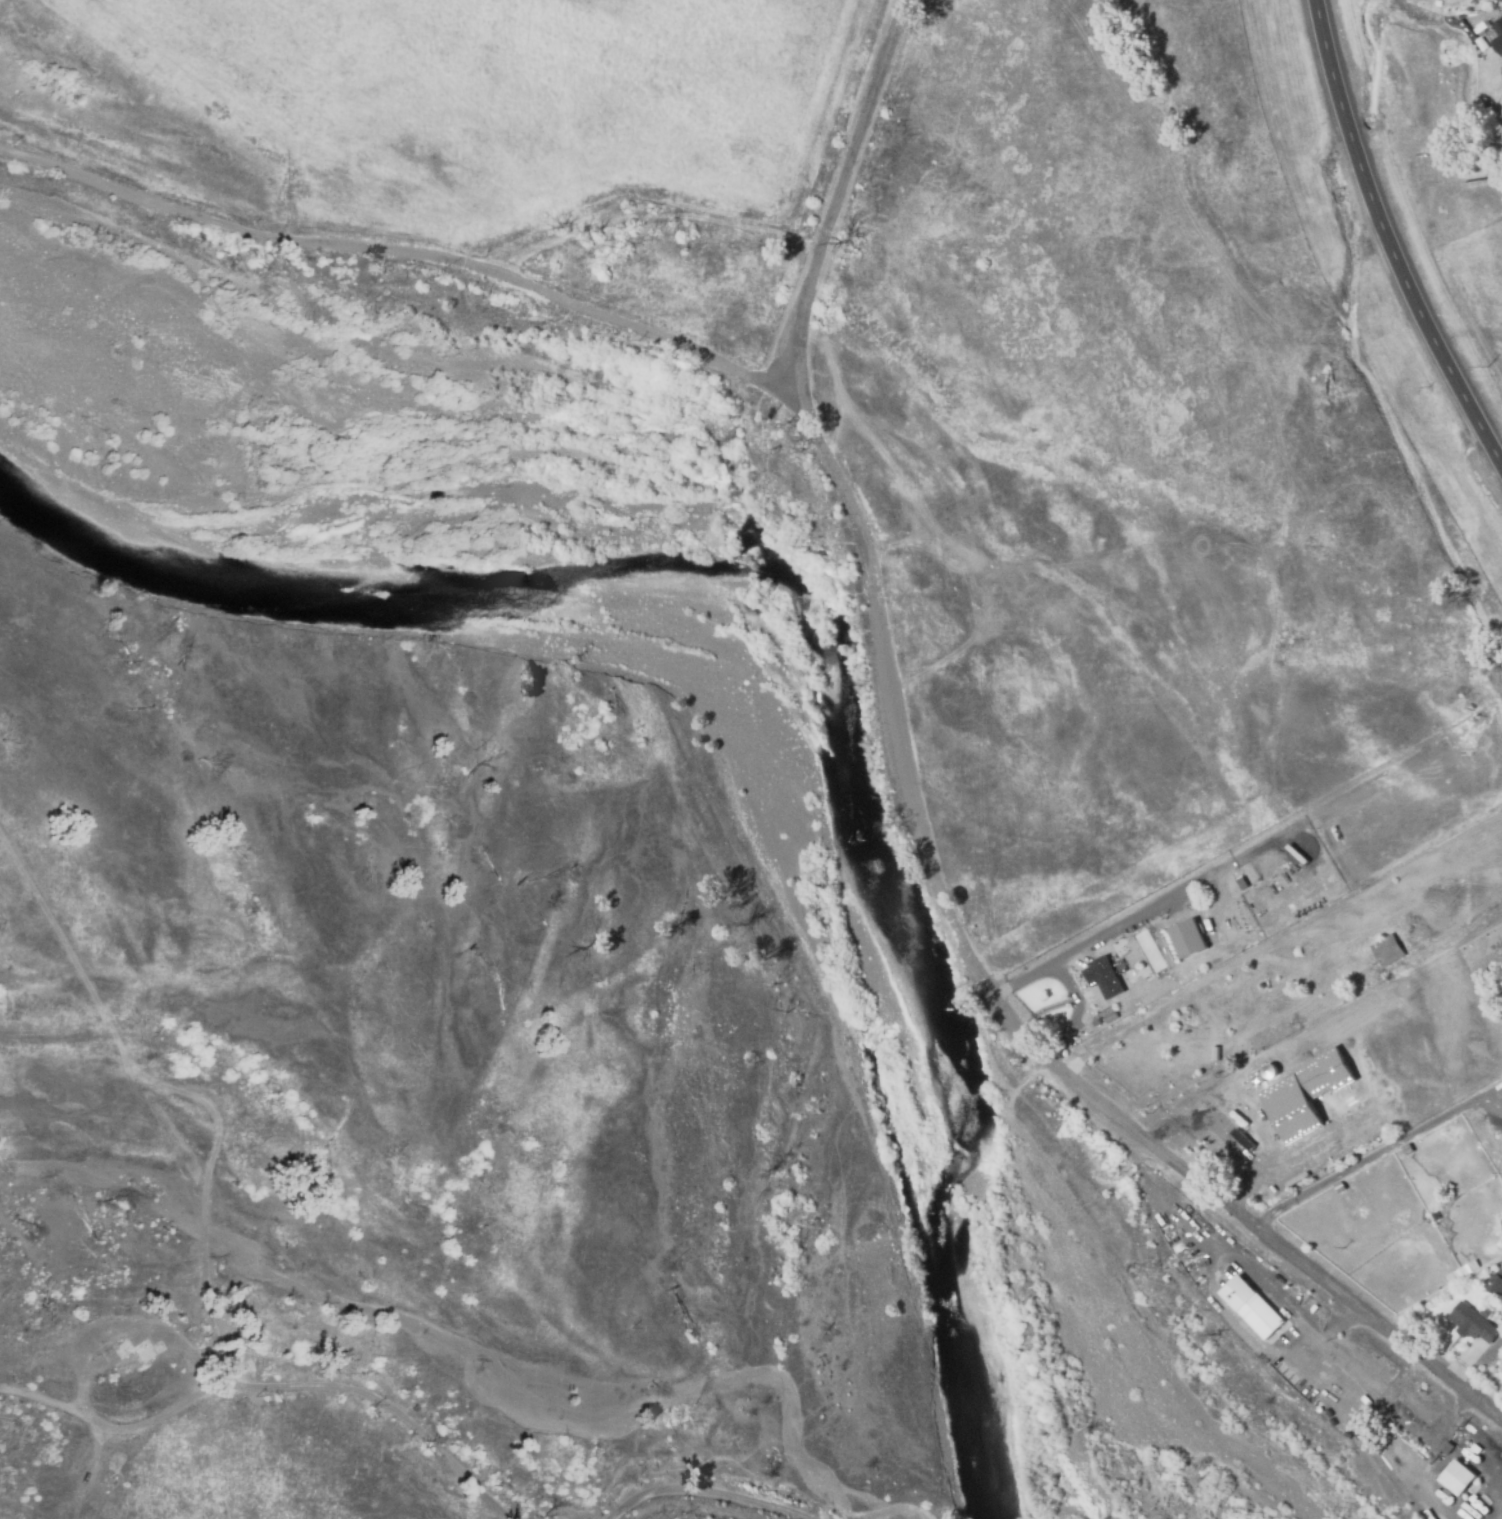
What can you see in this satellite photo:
building: (1499, 0)
building: (1498, 33)
road: (1389, 239)
road: (403, 270)
road: (916, 821)
building: (1240, 883)
building: (1222, 897)
building: (1197, 931)
road: (1086, 942)
building: (1386, 950)
building: (1102, 974)
building: (1139, 982)
building: (1198, 992)
building: (1149, 1000)
road: (1075, 1010)
building: (1206, 1019)
building: (1095, 1023)
building: (1311, 1090)
building: (1280, 1104)
parking lot: (1301, 1147)
building: (1405, 1150)
road: (1373, 1155)
building: (1338, 1187)
building: (1494, 1284)
building: (1252, 1309)
building: (1470, 1324)
road: (276, 1381)
building: (1471, 1452)
building: (1456, 1479)
road: (724, 1491)

